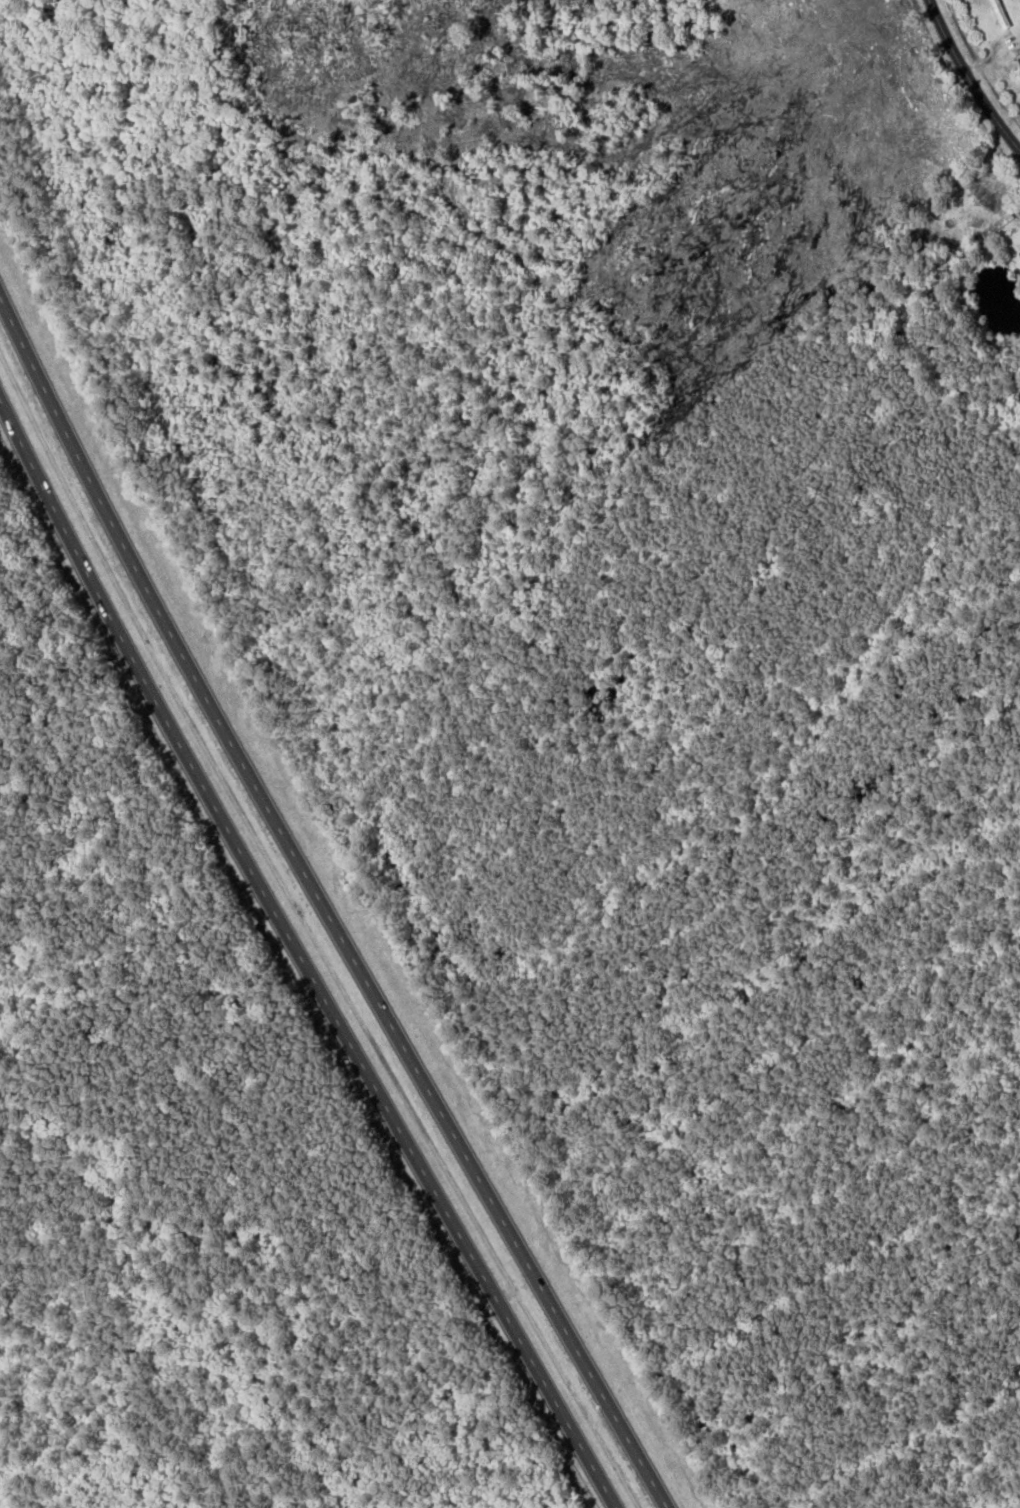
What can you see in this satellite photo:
building: (1000, 15)
road: (974, 77)
building: (986, 199)
road: (322, 909)
road: (300, 956)

